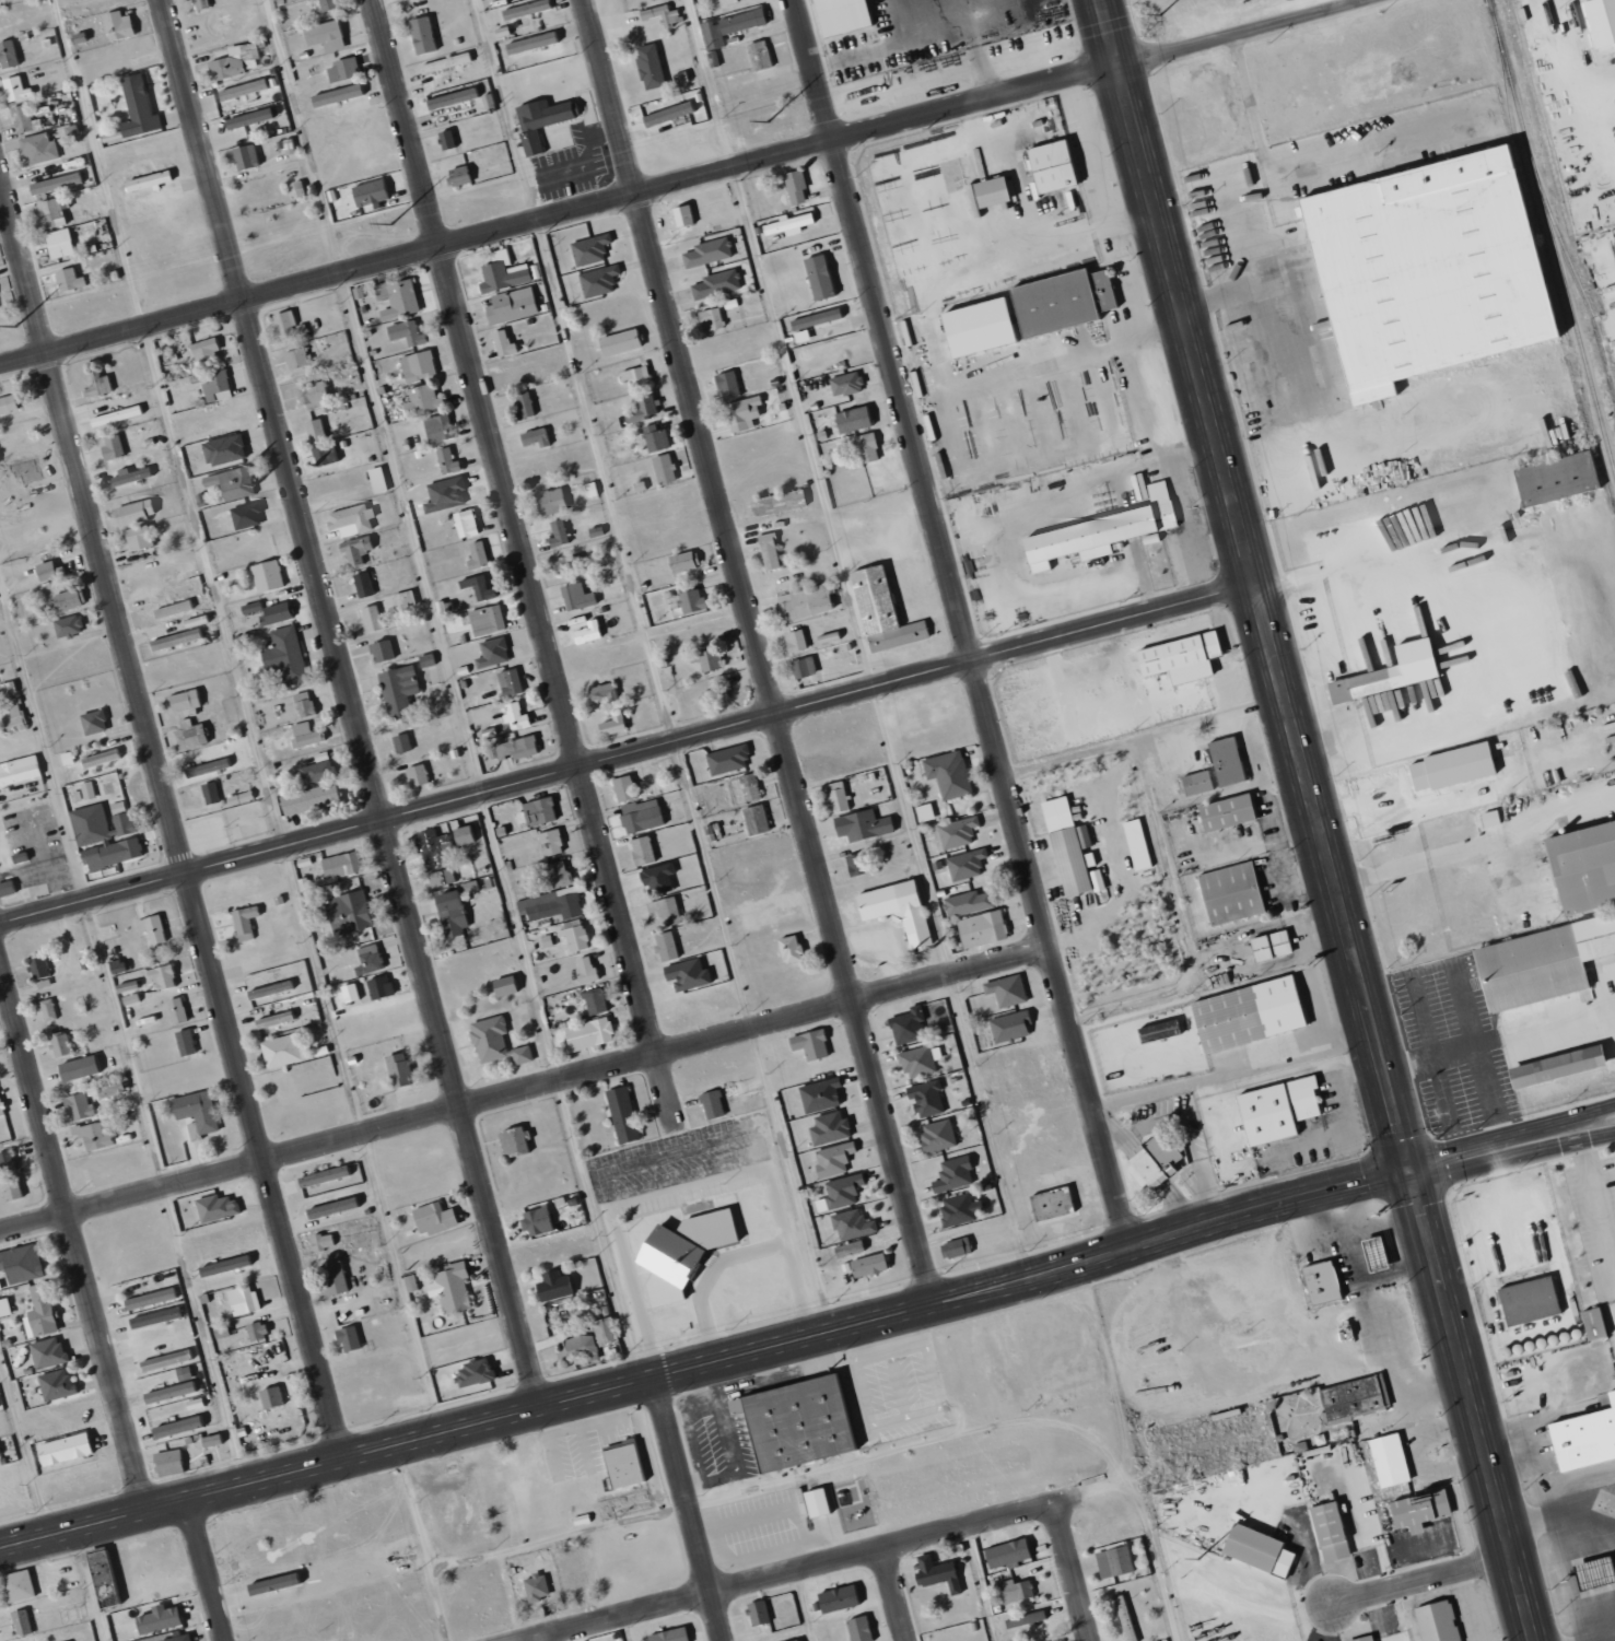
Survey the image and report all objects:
building: (724, 2)
building: (200, 3)
building: (327, 4)
building: (524, 9)
building: (659, 14)
power tower: (1160, 15)
building: (835, 16)
building: (1598, 21)
building: (115, 25)
building: (727, 26)
building: (323, 35)
building: (420, 35)
road: (1458, 37)
road: (926, 38)
building: (530, 43)
road: (1295, 48)
building: (7, 54)
building: (758, 55)
building: (234, 61)
building: (443, 62)
building: (647, 66)
building: (341, 69)
road: (709, 84)
building: (13, 89)
building: (336, 94)
building: (449, 97)
road: (1392, 101)
building: (136, 107)
building: (274, 110)
building: (667, 114)
railway: (1543, 117)
building: (21, 118)
building: (246, 118)
building: (538, 120)
power tower: (768, 121)
road: (1275, 122)
building: (444, 139)
building: (37, 149)
building: (243, 156)
road: (98, 163)
building: (1048, 166)
building: (455, 175)
building: (145, 180)
building: (54, 183)
road: (679, 184)
road: (1287, 186)
building: (794, 187)
railway: (1528, 189)
road: (1238, 190)
building: (987, 191)
building: (367, 194)
building: (49, 213)
building: (680, 215)
power tower: (390, 224)
building: (786, 225)
railway: (1552, 238)
building: (57, 243)
building: (589, 249)
building: (706, 251)
building: (1421, 270)
building: (501, 272)
building: (817, 277)
building: (67, 280)
building: (597, 281)
railway: (1579, 282)
building: (713, 284)
building: (378, 291)
building: (398, 300)
building: (1058, 301)
building: (510, 306)
building: (709, 319)
building: (814, 319)
building: (282, 325)
power tower: (14, 327)
building: (973, 327)
building: (405, 332)
building: (501, 342)
building: (617, 342)
building: (203, 350)
building: (294, 357)
building: (417, 366)
road: (572, 372)
building: (633, 377)
road: (1287, 380)
building: (844, 384)
building: (725, 385)
building: (97, 386)
building: (214, 386)
building: (309, 395)
road: (373, 397)
building: (420, 400)
building: (7, 403)
building: (525, 405)
road: (1413, 408)
building: (640, 409)
building: (740, 413)
building: (851, 420)
building: (436, 429)
building: (313, 430)
building: (534, 438)
building: (653, 438)
building: (108, 447)
building: (865, 447)
building: (222, 449)
building: (320, 452)
building: (455, 454)
road: (1420, 455)
building: (445, 461)
building: (17, 469)
building: (662, 469)
building: (128, 476)
building: (1553, 479)
building: (375, 480)
building: (229, 483)
building: (548, 502)
building: (775, 503)
building: (132, 512)
building: (244, 515)
building: (349, 519)
building: (463, 524)
building: (594, 531)
building: (557, 532)
building: (1098, 532)
building: (1411, 536)
building: (136, 538)
building: (766, 551)
building: (353, 552)
building: (475, 555)
building: (681, 561)
road: (524, 562)
building: (569, 565)
building: (46, 572)
building: (266, 576)
building: (361, 585)
road: (1253, 585)
building: (476, 586)
road: (211, 588)
building: (574, 597)
building: (402, 599)
building: (62, 601)
building: (684, 601)
building: (805, 601)
building: (249, 607)
building: (171, 609)
building: (879, 612)
building: (273, 613)
building: (371, 618)
building: (484, 620)
road: (962, 623)
building: (66, 625)
building: (585, 633)
building: (794, 641)
building: (395, 646)
building: (379, 650)
road: (757, 652)
building: (283, 655)
building: (707, 657)
building: (1178, 658)
building: (803, 667)
building: (1395, 670)
building: (507, 682)
building: (396, 689)
building: (602, 692)
building: (712, 695)
building: (179, 701)
road: (350, 702)
building: (302, 704)
building: (12, 716)
building: (513, 716)
building: (92, 722)
building: (611, 724)
building: (187, 735)
building: (304, 735)
road: (1144, 737)
building: (400, 742)
building: (514, 748)
building: (1507, 748)
building: (728, 752)
road: (627, 755)
building: (97, 759)
building: (1224, 762)
building: (17, 770)
building: (948, 772)
building: (316, 773)
building: (414, 775)
building: (1195, 783)
building: (749, 785)
building: (623, 786)
building: (86, 790)
building: (208, 793)
building: (838, 795)
building: (307, 799)
building: (538, 808)
building: (641, 812)
building: (922, 812)
building: (1224, 813)
road: (172, 816)
building: (756, 817)
building: (1488, 818)
building: (863, 819)
building: (960, 830)
building: (463, 832)
building: (103, 835)
building: (555, 840)
building: (1064, 845)
building: (1134, 845)
building: (645, 849)
building: (480, 851)
building: (435, 854)
road: (1444, 854)
building: (969, 861)
building: (341, 863)
building: (856, 864)
building: (1581, 867)
building: (560, 870)
building: (656, 879)
building: (1228, 893)
building: (967, 903)
building: (548, 904)
building: (898, 907)
building: (667, 909)
building: (450, 911)
building: (350, 913)
building: (247, 921)
road: (1181, 921)
building: (982, 926)
building: (152, 927)
building: (576, 936)
building: (664, 946)
building: (1268, 946)
building: (788, 949)
building: (366, 956)
building: (1538, 962)
building: (584, 968)
building: (39, 970)
building: (684, 974)
building: (147, 978)
building: (270, 984)
building: (381, 984)
building: (502, 986)
building: (1010, 987)
building: (347, 993)
building: (595, 999)
building: (56, 1005)
building: (47, 1007)
building: (177, 1008)
building: (274, 1013)
building: (394, 1015)
building: (1244, 1015)
building: (905, 1022)
building: (1010, 1023)
building: (1156, 1031)
building: (586, 1034)
building: (489, 1036)
building: (186, 1040)
building: (60, 1041)
building: (807, 1045)
building: (281, 1052)
building: (519, 1055)
building: (916, 1057)
building: (397, 1065)
building: (1553, 1067)
building: (77, 1068)
building: (106, 1087)
road: (525, 1089)
building: (818, 1095)
building: (927, 1095)
building: (713, 1101)
building: (78, 1103)
building: (1, 1105)
building: (1274, 1110)
building: (196, 1112)
building: (622, 1112)
road: (1579, 1113)
building: (827, 1128)
building: (936, 1133)
building: (91, 1136)
building: (514, 1137)
road: (1581, 1138)
road: (1478, 1152)
building: (834, 1153)
building: (1156, 1159)
building: (8, 1161)
building: (323, 1171)
traffic signals: (1408, 1171)
building: (949, 1172)
building: (843, 1186)
building: (10, 1188)
road: (1596, 1200)
building: (218, 1203)
building: (1052, 1204)
building: (341, 1206)
building: (956, 1207)
building: (429, 1216)
building: (536, 1218)
building: (852, 1222)
road: (72, 1233)
building: (320, 1242)
building: (849, 1249)
building: (952, 1249)
building: (681, 1251)
building: (1371, 1253)
building: (20, 1263)
building: (868, 1263)
building: (222, 1266)
building: (349, 1273)
building: (332, 1276)
building: (552, 1281)
building: (1319, 1282)
building: (448, 1288)
building: (150, 1293)
building: (243, 1298)
building: (1525, 1301)
building: (3, 1306)
building: (155, 1311)
building: (43, 1318)
building: (1590, 1323)
building: (585, 1333)
building: (361, 1334)
building: (241, 1336)
building: (346, 1338)
building: (580, 1348)
building: (48, 1349)
building: (166, 1356)
road: (705, 1361)
building: (472, 1373)
building: (57, 1380)
building: (169, 1386)
building: (269, 1397)
building: (1348, 1398)
road: (1470, 1406)
building: (795, 1420)
building: (176, 1427)
building: (1583, 1435)
building: (70, 1440)
building: (168, 1460)
building: (1386, 1460)
building: (624, 1461)
road: (692, 1507)
building: (817, 1509)
building: (1416, 1511)
road: (1558, 1516)
building: (1326, 1532)
building: (1254, 1549)
building: (1013, 1550)
building: (1112, 1562)
road: (827, 1563)
road: (208, 1568)
building: (936, 1571)
building: (959, 1571)
road: (1076, 1572)
road: (1433, 1578)
road: (978, 1584)
building: (14, 1586)
building: (534, 1587)
building: (1014, 1592)
road: (896, 1595)
building: (838, 1596)
building: (758, 1609)
building: (1122, 1618)
building: (157, 1619)
building: (1023, 1619)
building: (19, 1621)
building: (1435, 1621)
building: (859, 1627)
building: (669, 1633)
building: (178, 1638)
building: (1360, 1639)
road: (541, 1640)
building: (797, 1640)
road: (1613, 1640)

